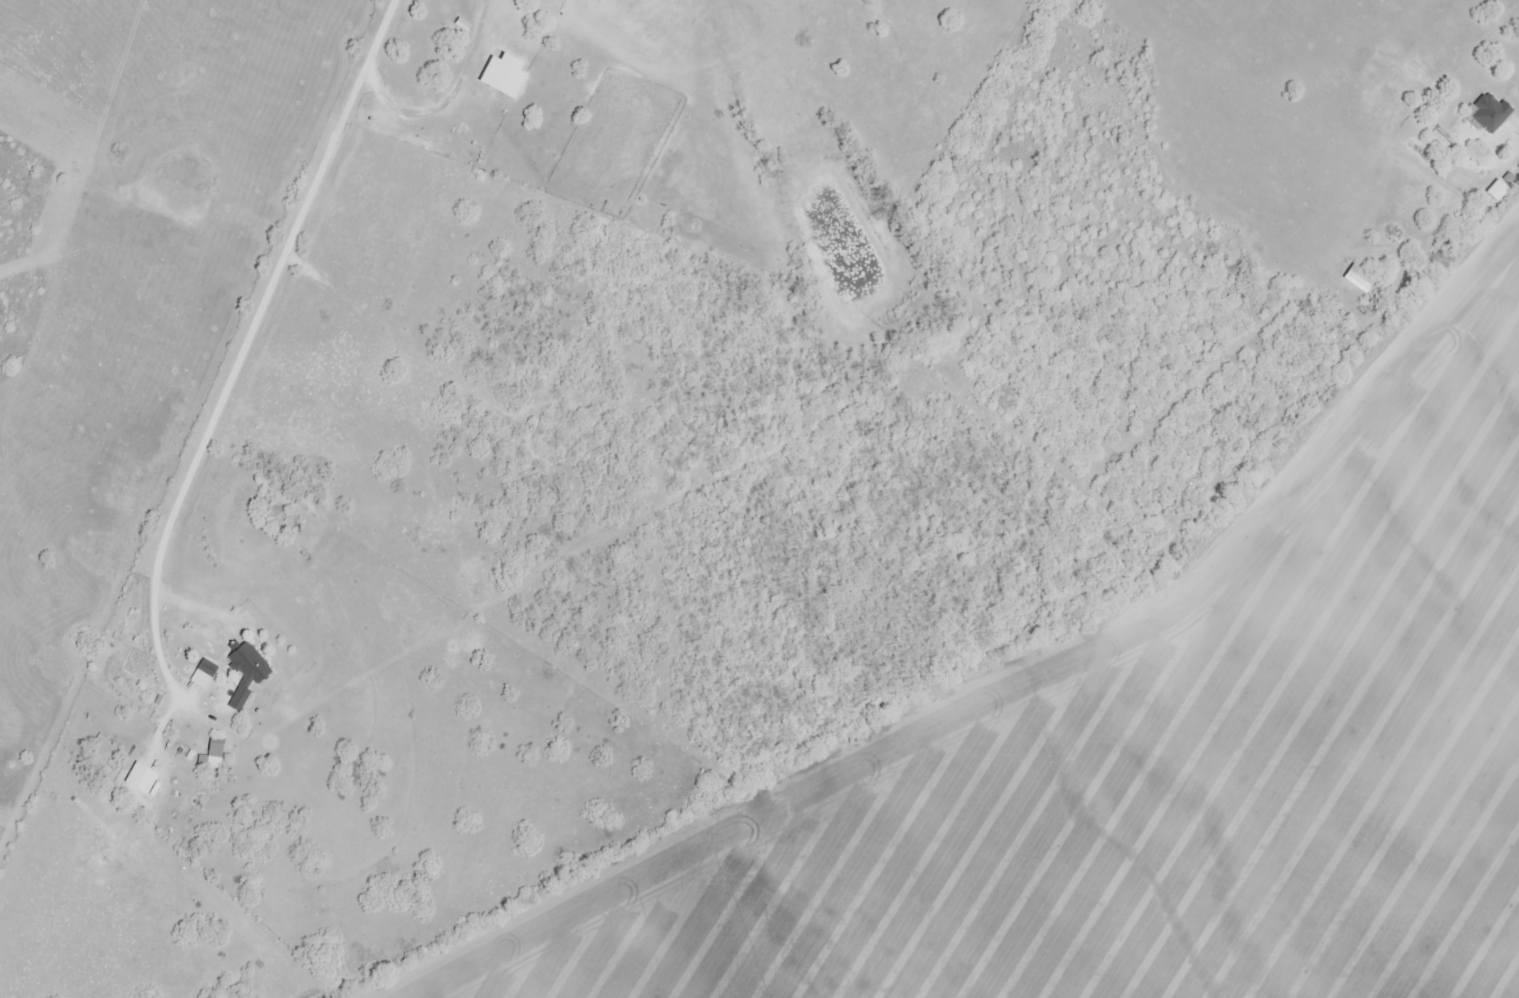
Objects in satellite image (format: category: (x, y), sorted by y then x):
building: (1489, 115)
building: (247, 674)
building: (201, 680)
building: (217, 751)

